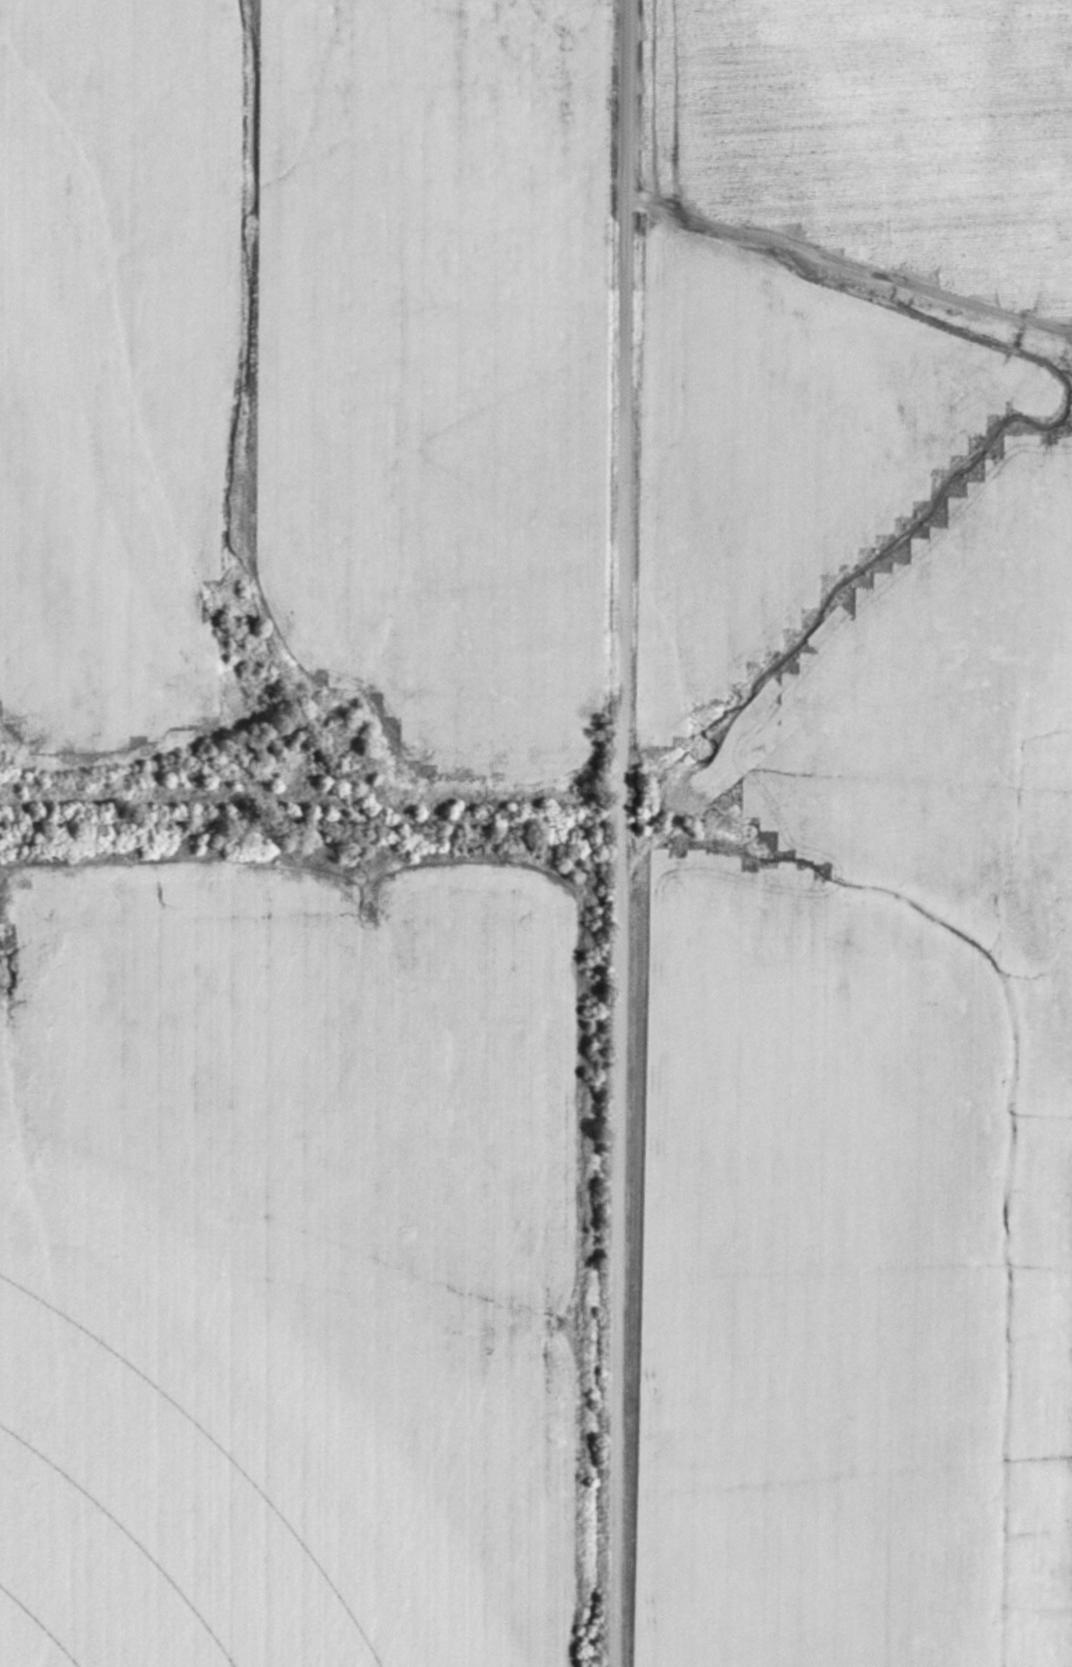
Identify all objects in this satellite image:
road: (846, 268)
road: (614, 833)

